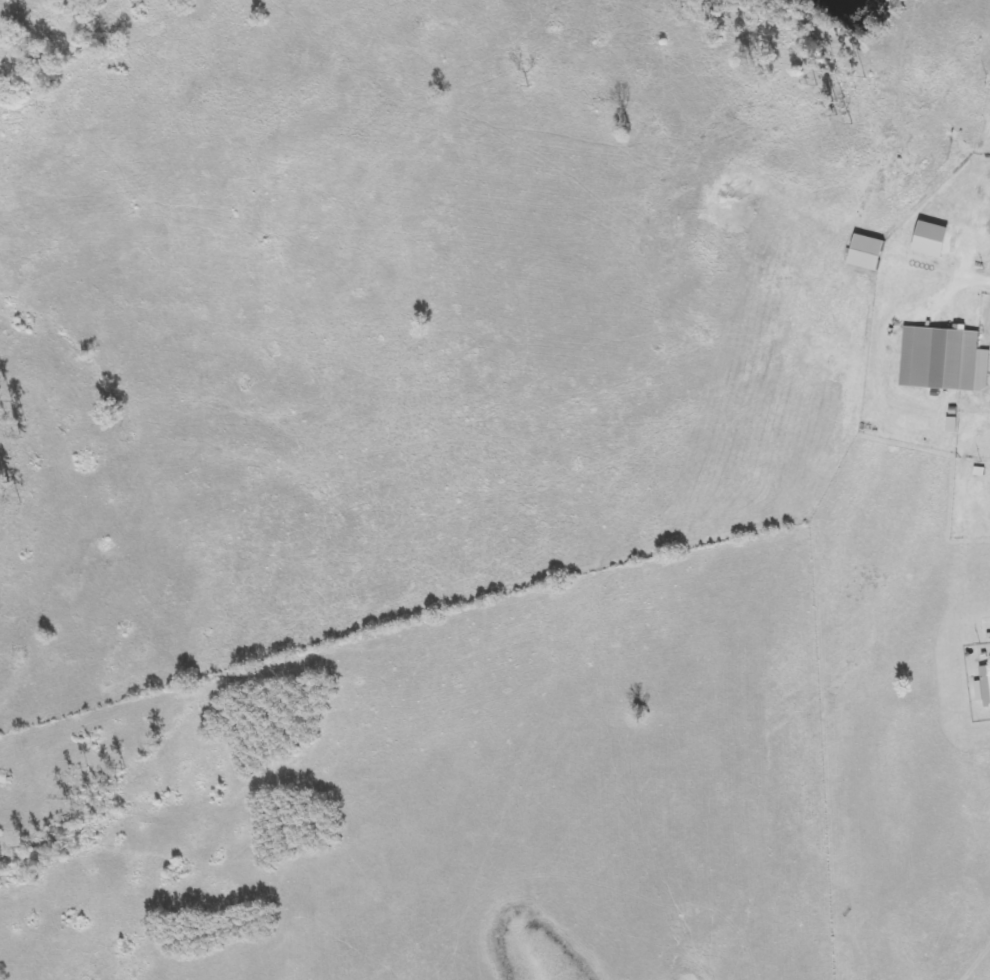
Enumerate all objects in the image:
building: (865, 252)
building: (937, 357)
building: (979, 685)

